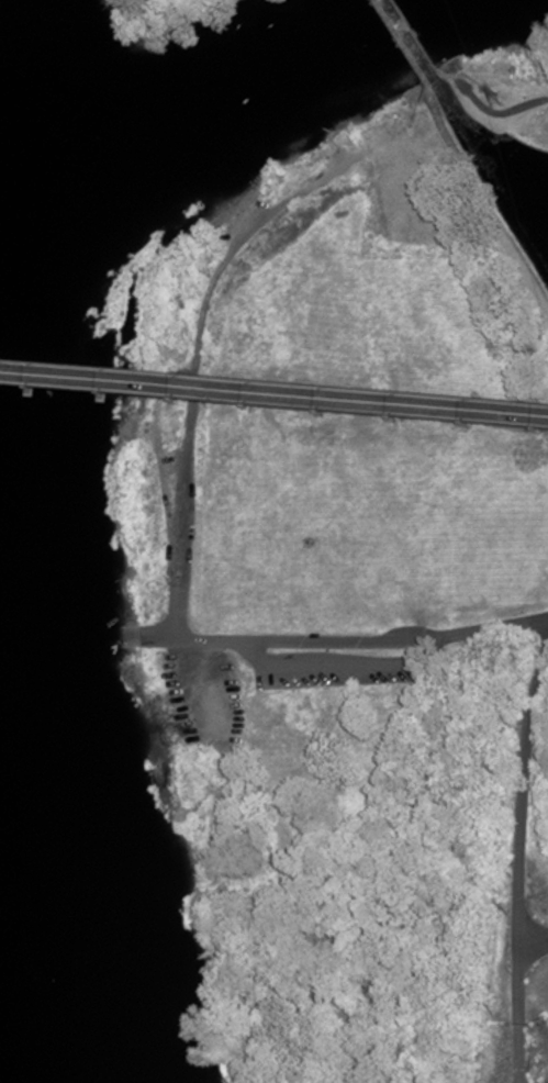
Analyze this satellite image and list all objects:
road: (399, 44)
river: (198, 90)
road: (541, 98)
power tower: (493, 99)
road: (441, 123)
road: (501, 235)
road: (273, 402)
road: (342, 640)
road: (342, 662)
parking lot: (336, 669)
road: (518, 862)
road: (533, 948)

